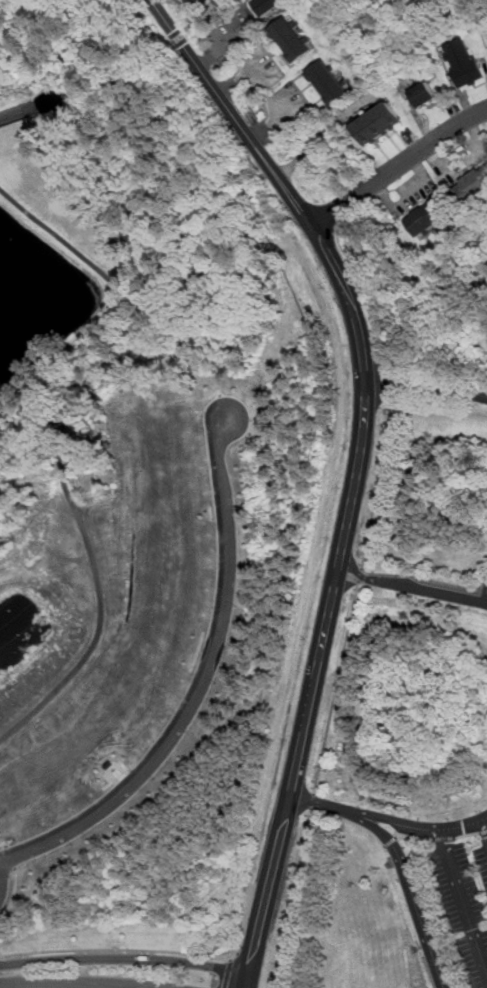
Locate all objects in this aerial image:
building: (266, 5)
building: (293, 37)
road: (222, 45)
building: (465, 64)
building: (329, 81)
building: (426, 96)
building: (379, 124)
road: (398, 162)
building: (474, 187)
building: (431, 217)
road: (427, 382)
road: (54, 445)
road: (384, 450)
road: (360, 468)
road: (362, 569)
road: (360, 575)
road: (412, 584)
parking lot: (484, 585)
road: (305, 597)
road: (198, 684)
road: (335, 687)
building: (42, 784)
road: (312, 800)
road: (310, 809)
road: (388, 818)
road: (485, 824)
road: (483, 831)
road: (466, 833)
road: (413, 835)
road: (442, 838)
road: (390, 841)
road: (3, 842)
road: (6, 843)
road: (301, 855)
road: (11, 856)
road: (2, 876)
road: (408, 887)
road: (11, 895)
parking lot: (466, 900)
road: (462, 903)
road: (115, 948)
road: (2, 953)
road: (125, 958)
road: (227, 975)
road: (82, 980)

